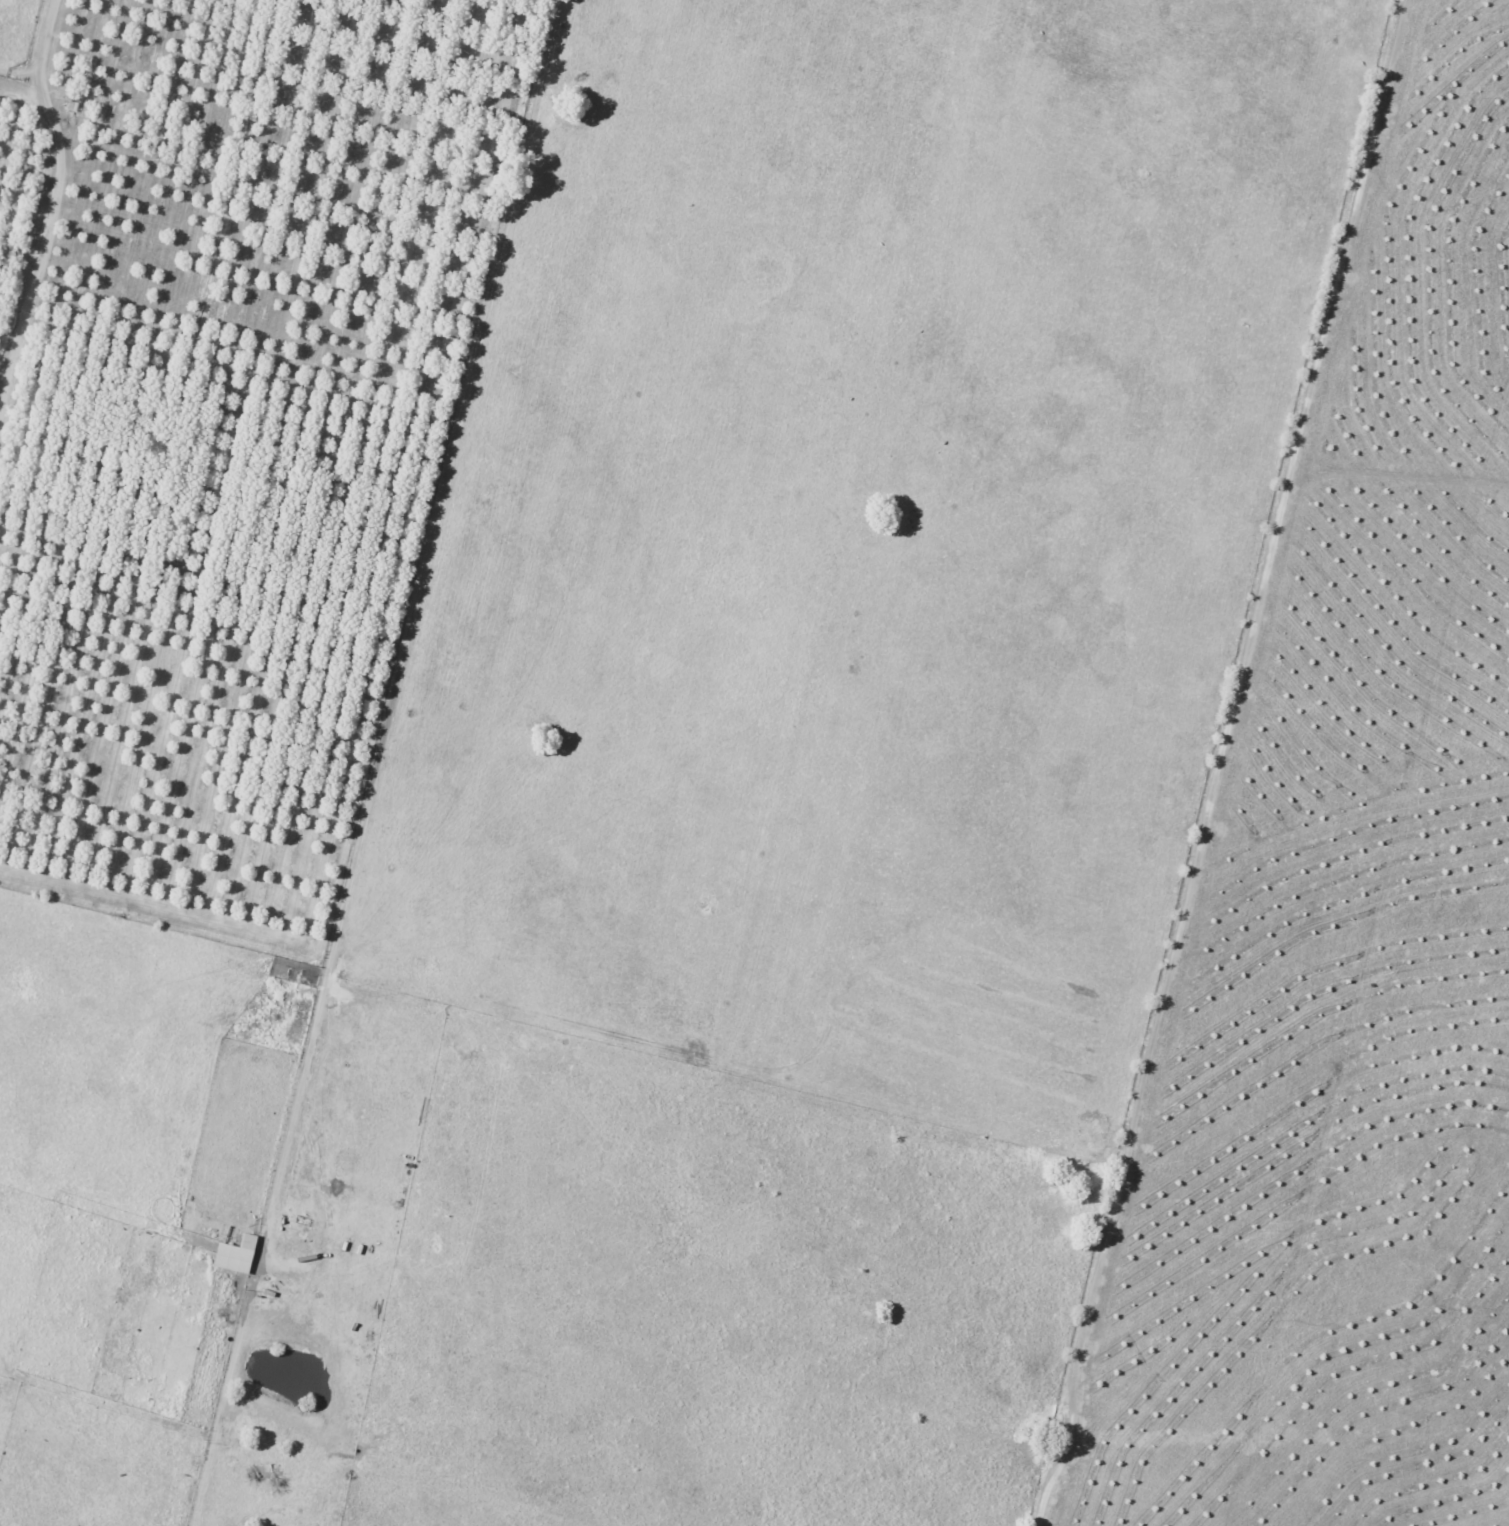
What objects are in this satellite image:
road: (23, 97)
road: (55, 219)
road: (380, 763)
road: (1220, 764)
building: (236, 1254)

